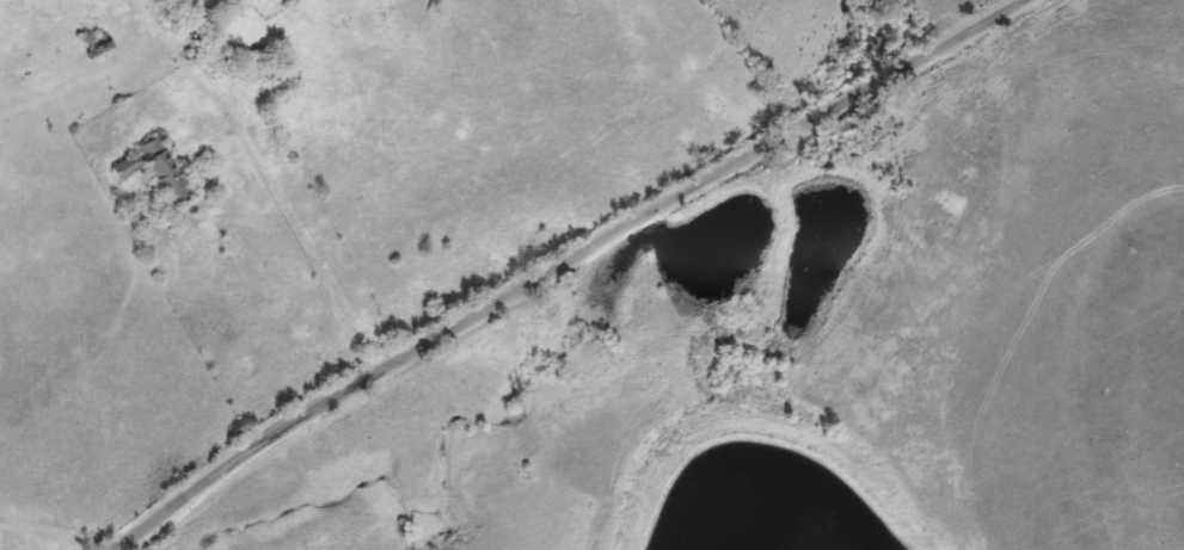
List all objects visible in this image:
building: (151, 169)
road: (302, 237)
road: (571, 262)

